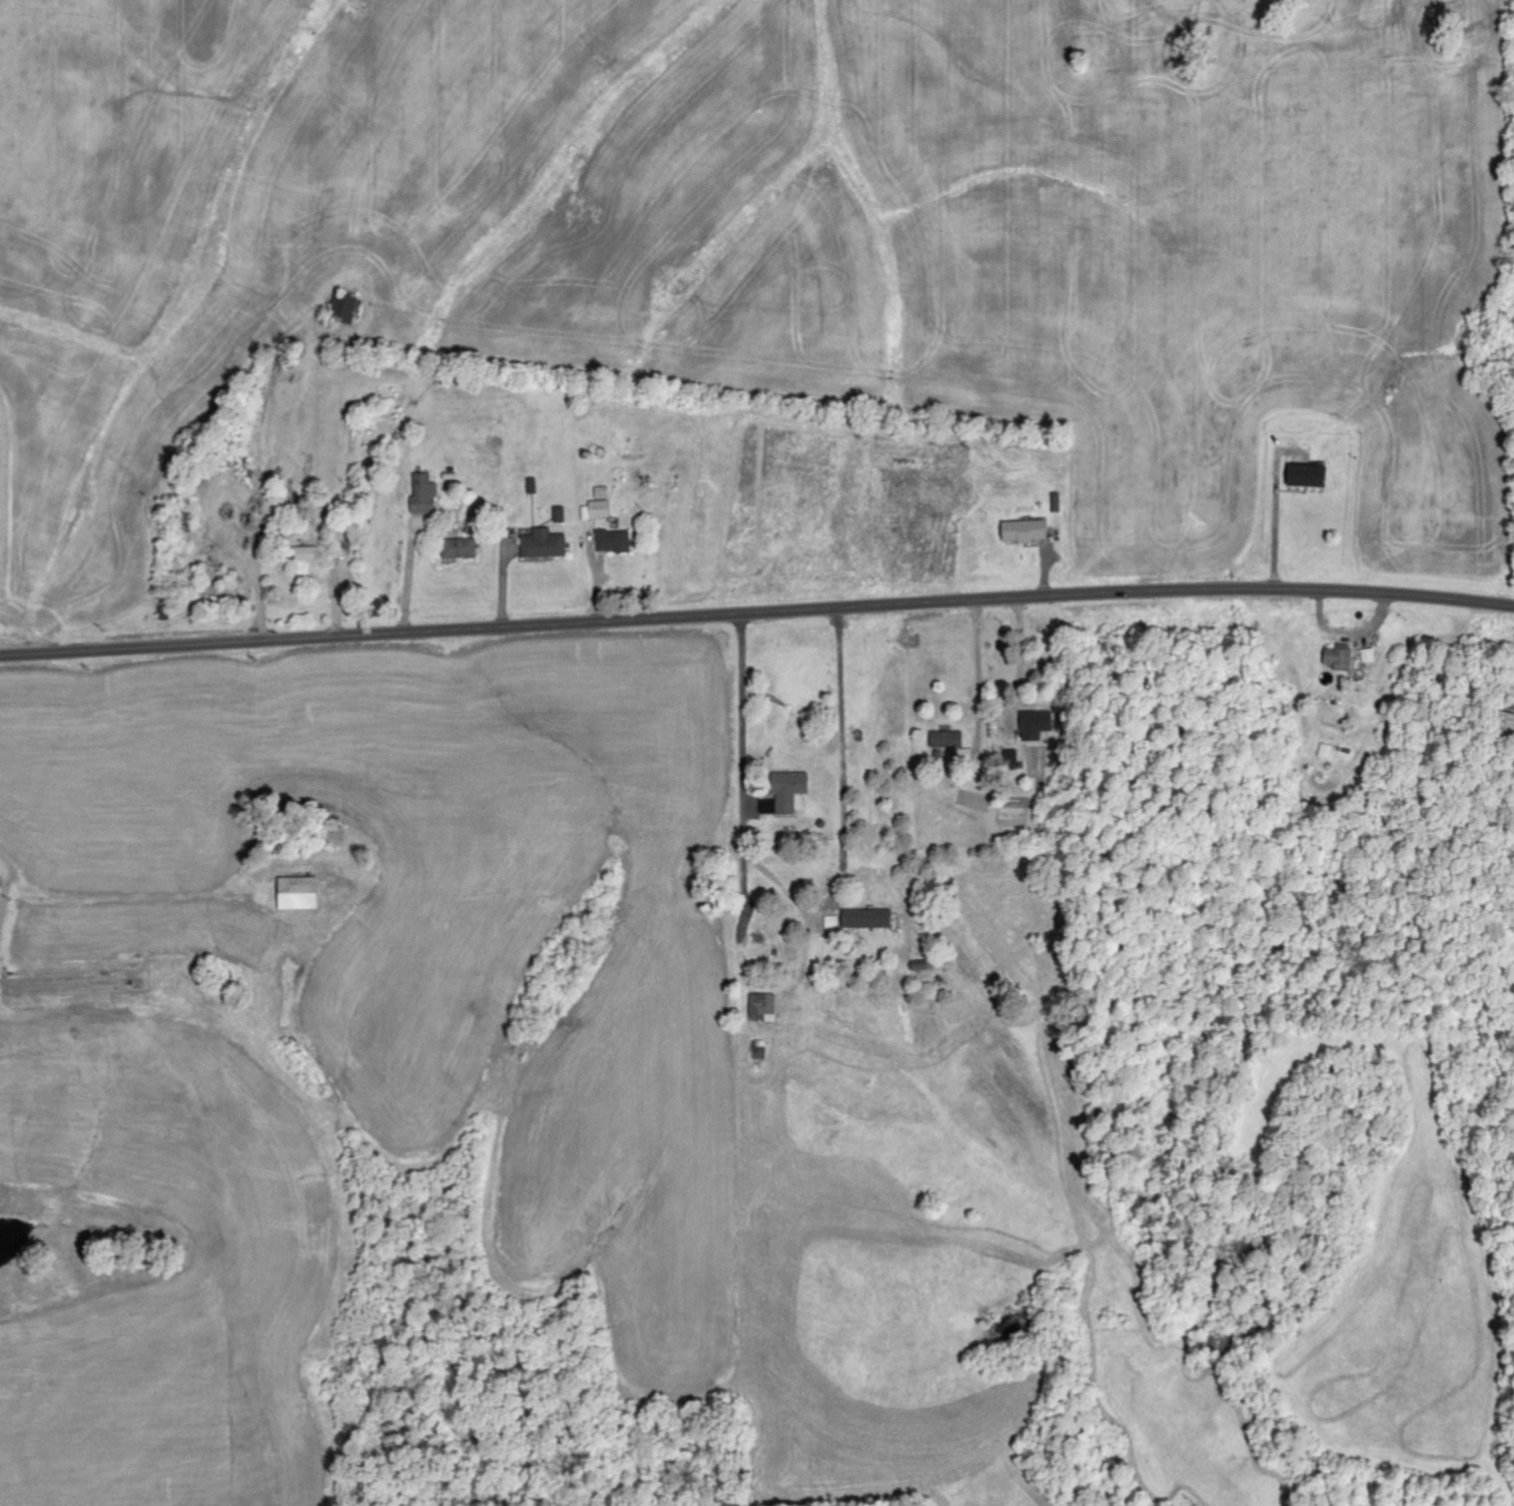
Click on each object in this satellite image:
building: (347, 309)
building: (1309, 476)
building: (533, 487)
building: (603, 492)
building: (424, 495)
building: (601, 510)
building: (561, 515)
building: (1026, 531)
building: (615, 542)
building: (545, 545)
building: (461, 549)
building: (309, 554)
road: (757, 609)
building: (1369, 656)
building: (1341, 658)
building: (1037, 725)
building: (1508, 726)
building: (948, 740)
building: (1327, 752)
road: (748, 783)
building: (788, 794)
building: (300, 894)
building: (869, 920)
building: (765, 1007)

